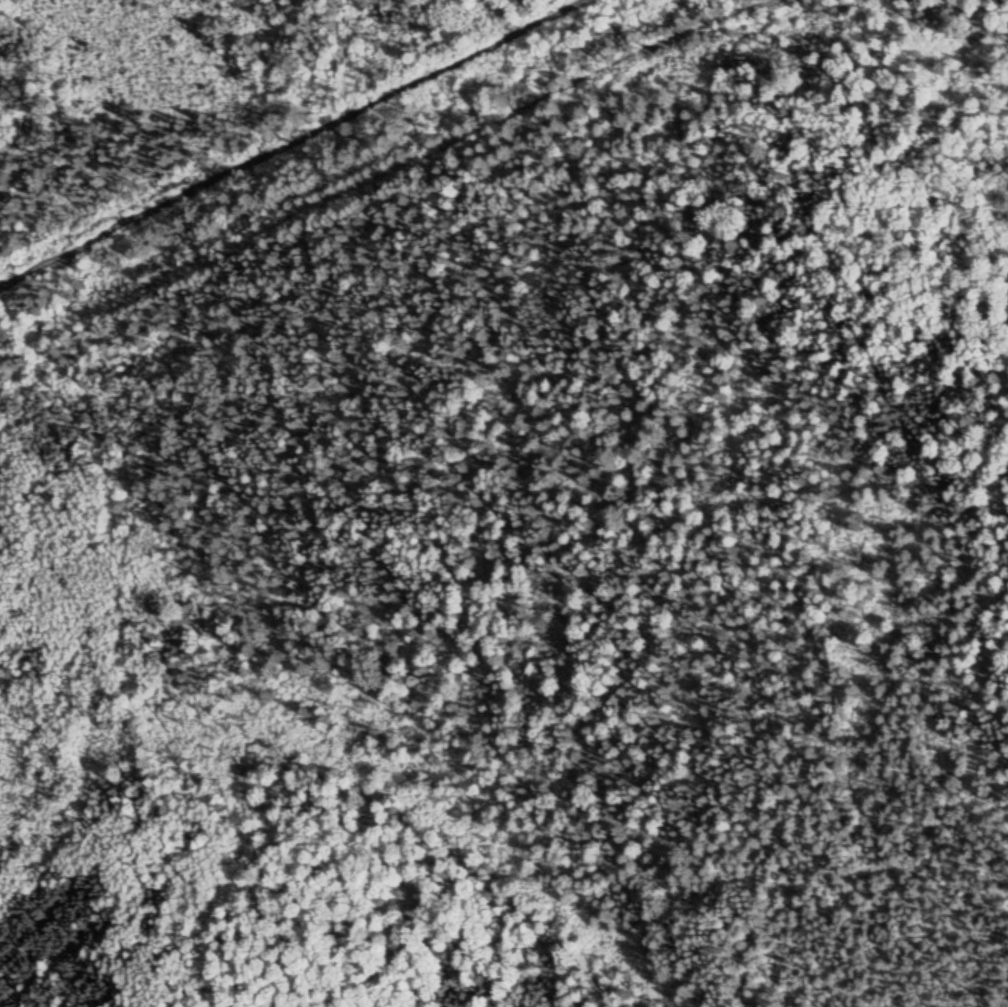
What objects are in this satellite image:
road: (292, 144)
railway: (388, 172)

